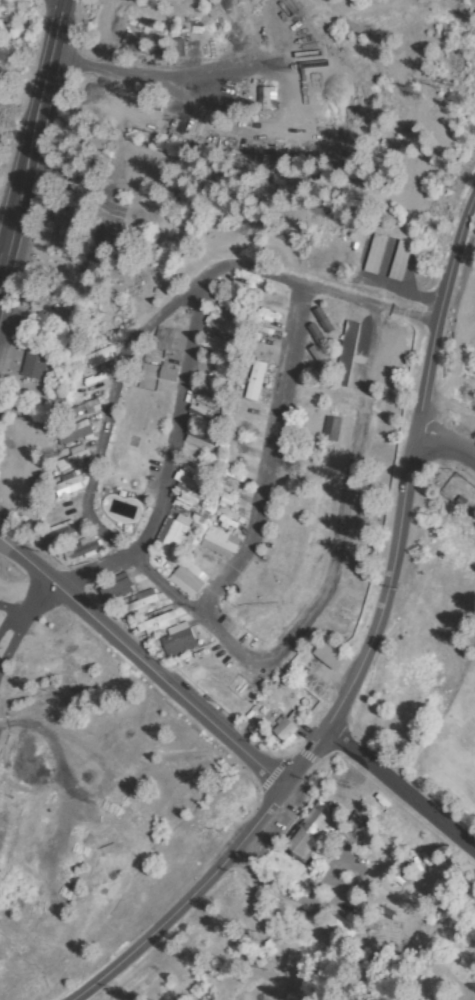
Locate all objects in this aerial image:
road: (53, 12)
road: (186, 75)
building: (267, 100)
road: (32, 137)
building: (72, 214)
building: (376, 254)
building: (401, 262)
building: (269, 296)
road: (174, 308)
building: (223, 325)
building: (165, 342)
building: (218, 348)
building: (347, 354)
building: (100, 355)
building: (37, 360)
building: (168, 374)
building: (257, 382)
building: (211, 395)
building: (247, 406)
building: (83, 407)
building: (203, 416)
road: (176, 428)
building: (331, 429)
building: (75, 435)
building: (201, 439)
building: (239, 442)
road: (444, 446)
road: (271, 460)
building: (72, 461)
building: (234, 475)
building: (192, 483)
building: (67, 485)
building: (227, 497)
building: (193, 508)
building: (61, 533)
building: (174, 536)
building: (220, 543)
building: (81, 551)
building: (187, 580)
building: (116, 589)
building: (143, 604)
road: (310, 616)
building: (157, 624)
building: (177, 641)
road: (370, 649)
building: (332, 655)
road: (143, 664)
building: (289, 727)
road: (400, 789)
building: (358, 823)
building: (313, 831)
building: (378, 929)

